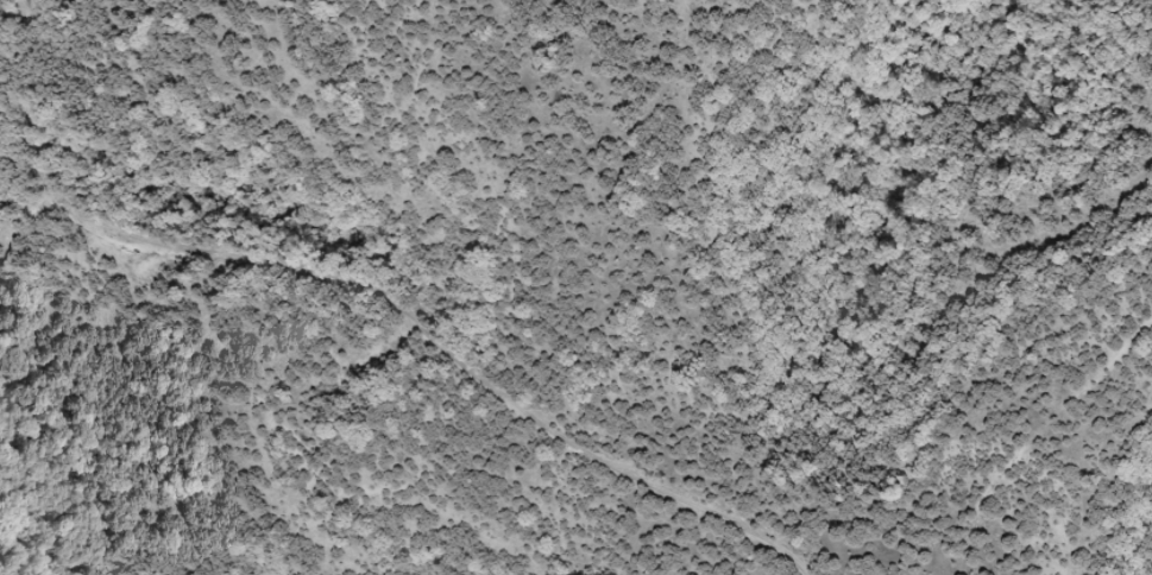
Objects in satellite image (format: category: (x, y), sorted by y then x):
road: (541, 373)

